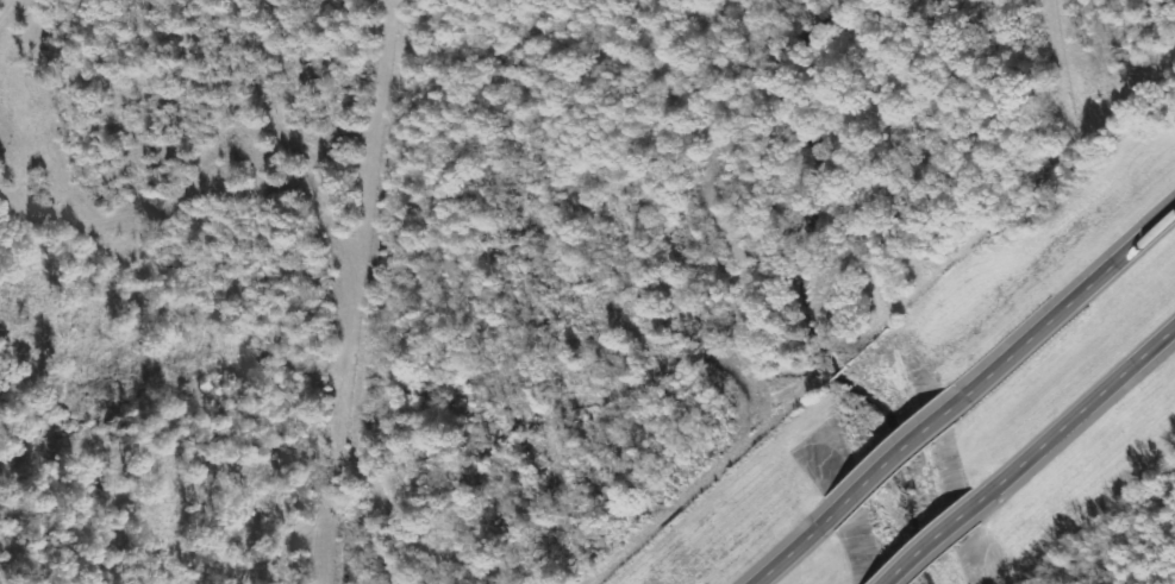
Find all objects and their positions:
road: (1071, 310)
road: (1081, 417)
road: (889, 471)
road: (942, 541)
road: (785, 563)

